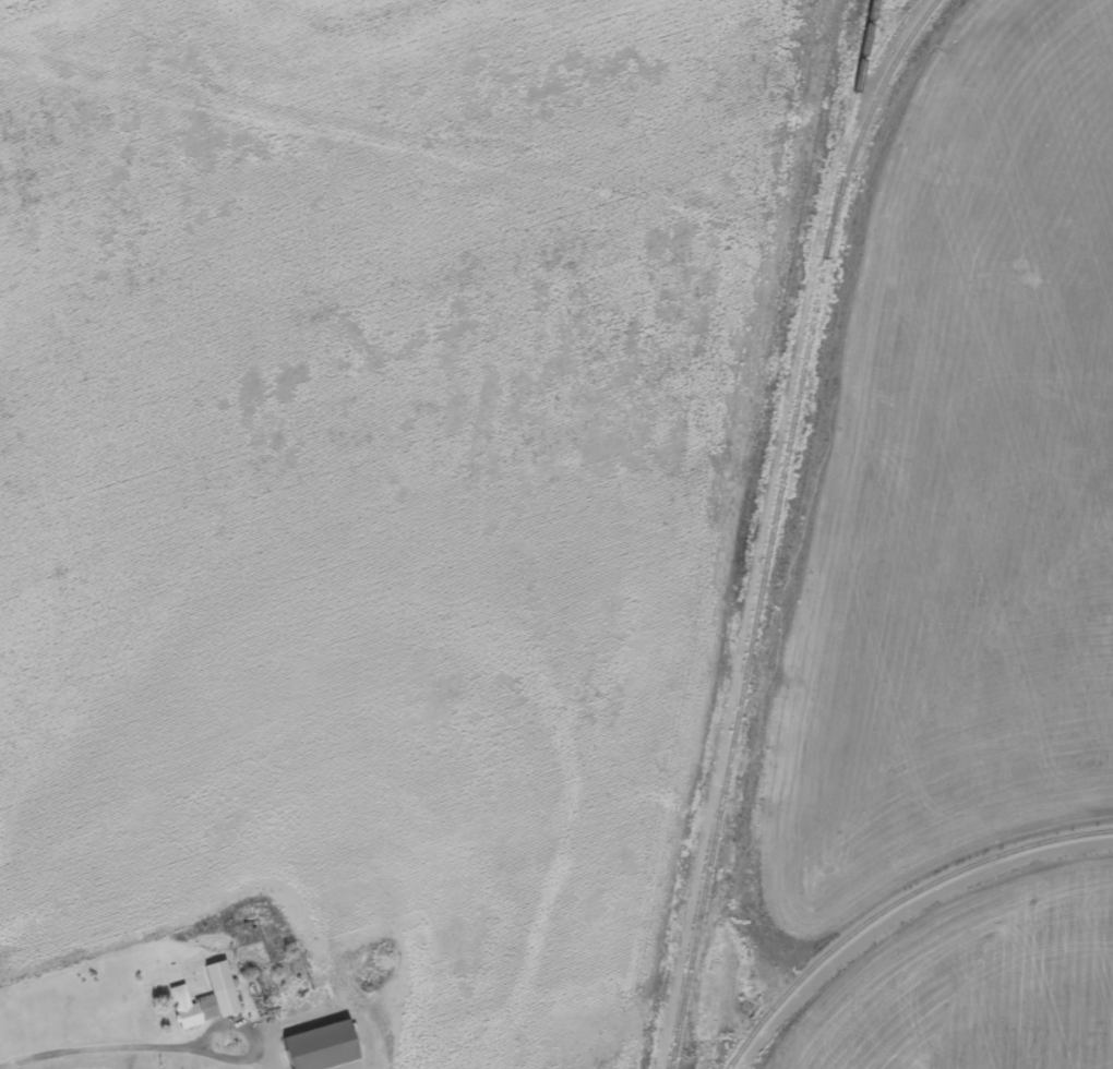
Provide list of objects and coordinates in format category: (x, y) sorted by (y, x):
railway: (873, 105)
railway: (771, 534)
railway: (894, 906)
building: (216, 980)
building: (191, 1010)
building: (320, 1049)

